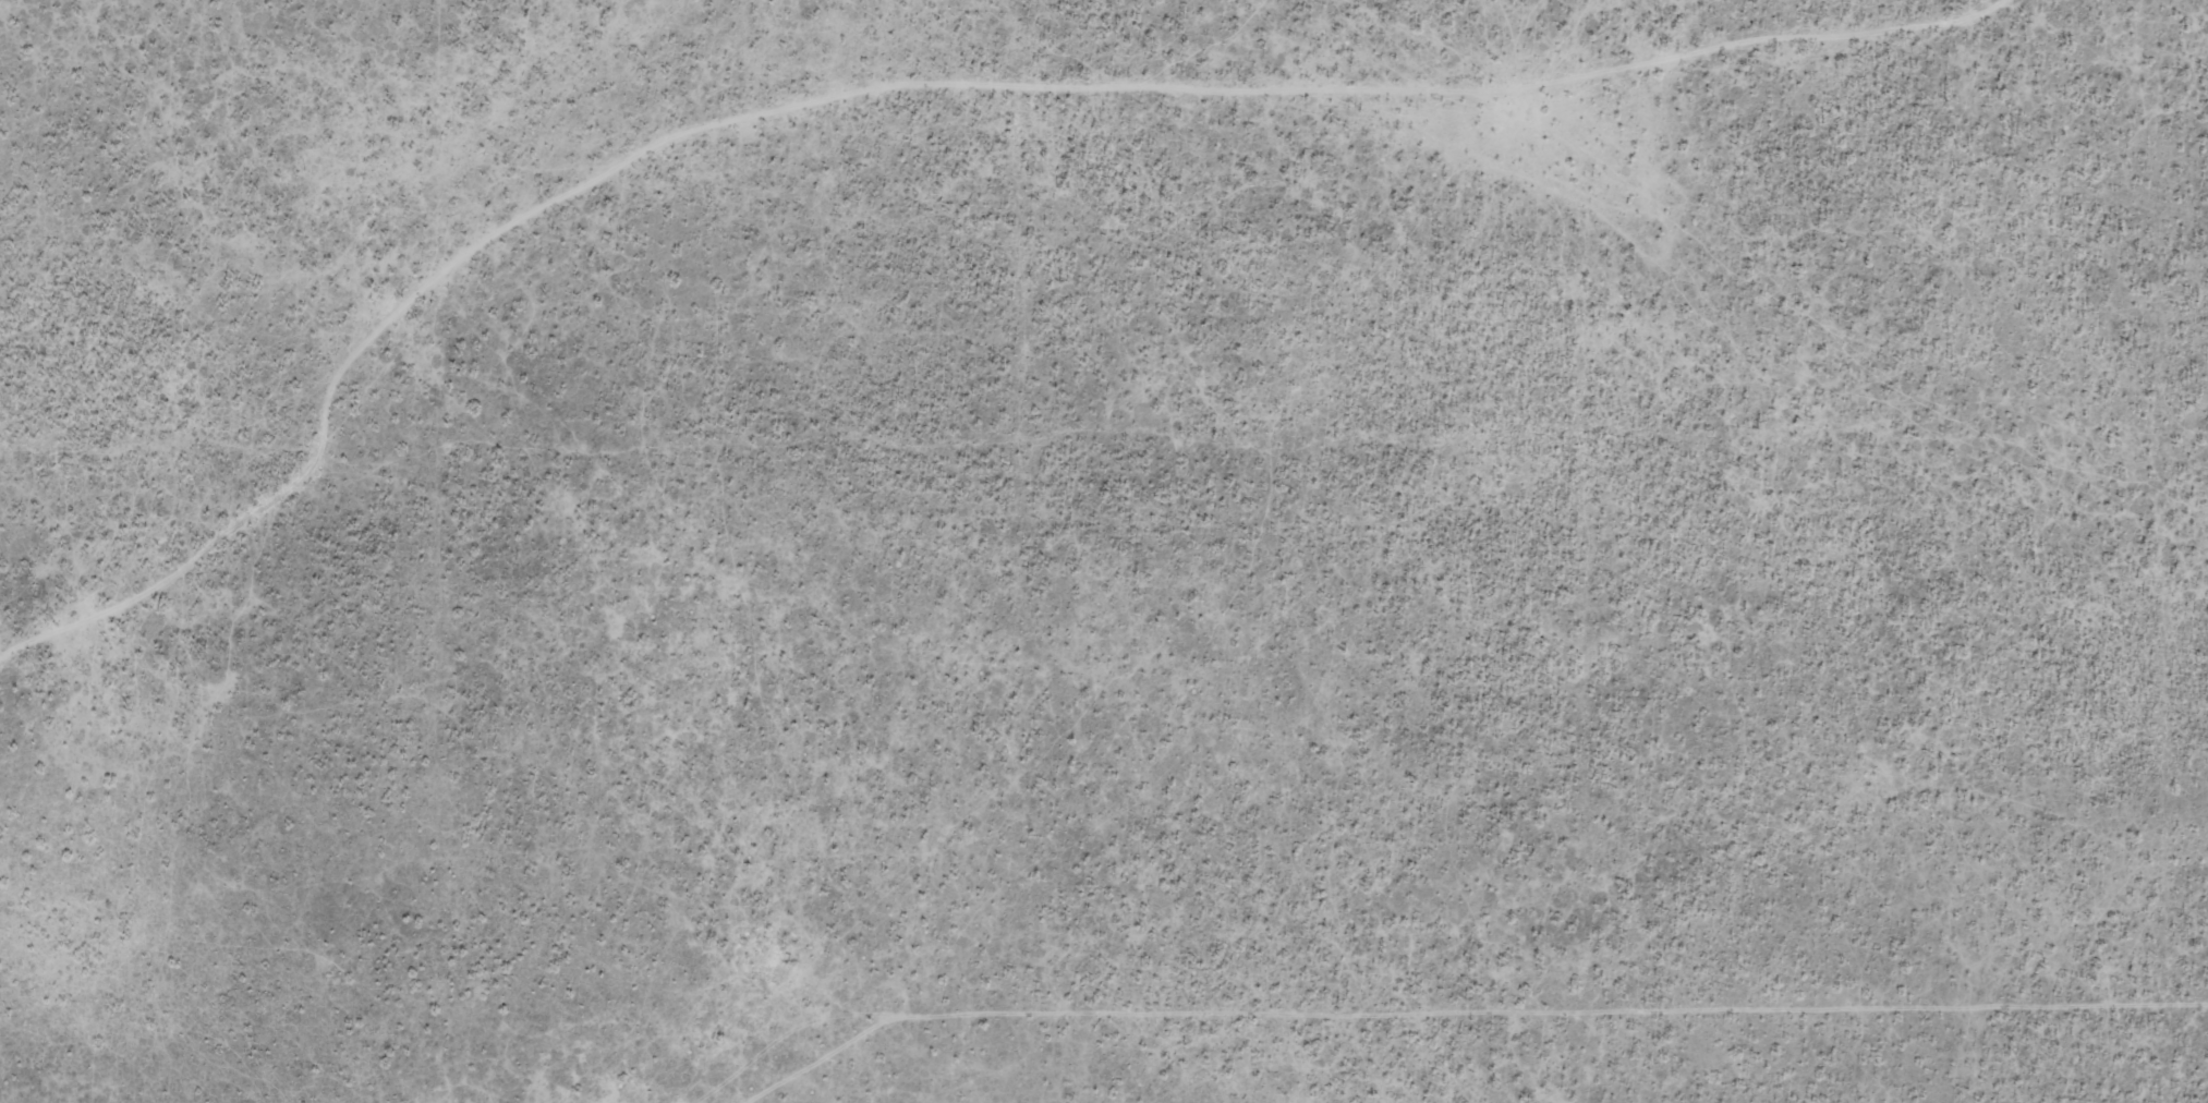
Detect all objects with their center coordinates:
road: (947, 130)

